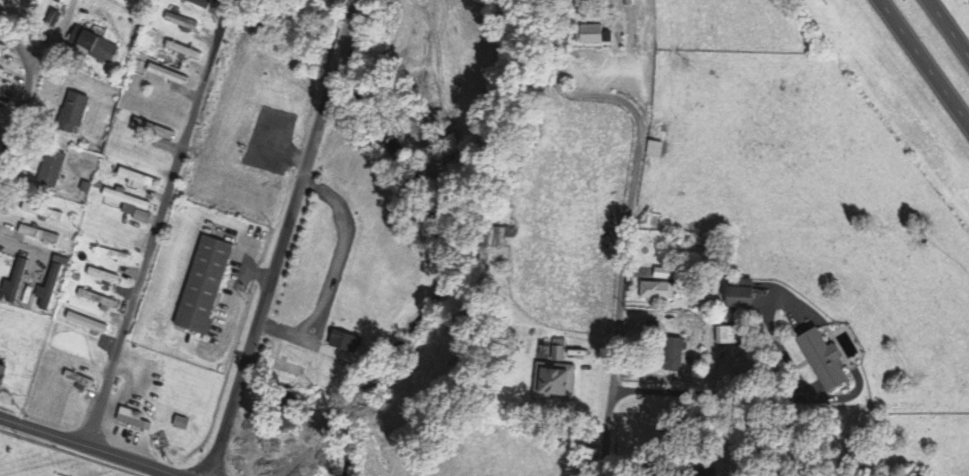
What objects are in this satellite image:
building: (36, 2)
building: (200, 3)
road: (355, 4)
building: (183, 24)
road: (949, 27)
building: (596, 36)
road: (20, 42)
building: (95, 46)
road: (342, 49)
building: (3, 52)
road: (925, 62)
building: (169, 76)
building: (76, 111)
road: (17, 117)
building: (656, 150)
building: (53, 170)
building: (139, 181)
building: (132, 206)
building: (45, 214)
building: (41, 236)
road: (153, 241)
road: (624, 246)
building: (123, 261)
building: (663, 275)
building: (104, 277)
road: (269, 283)
building: (15, 284)
building: (206, 286)
building: (51, 288)
building: (657, 292)
building: (744, 299)
building: (100, 301)
building: (89, 324)
building: (728, 337)
building: (847, 346)
building: (677, 356)
building: (826, 360)
building: (289, 368)
building: (4, 378)
building: (558, 379)
building: (134, 421)
road: (89, 446)

